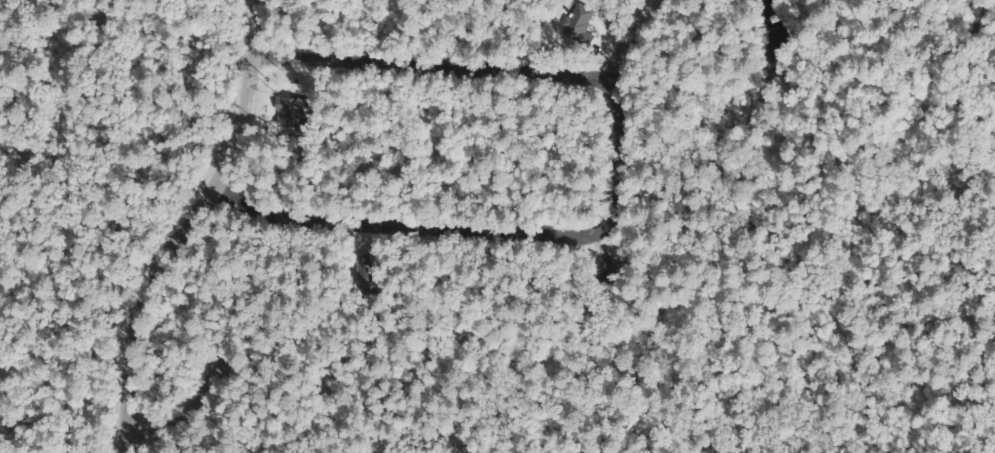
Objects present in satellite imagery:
road: (602, 52)
road: (599, 137)
road: (153, 216)
building: (358, 275)
road: (236, 282)
building: (604, 286)

